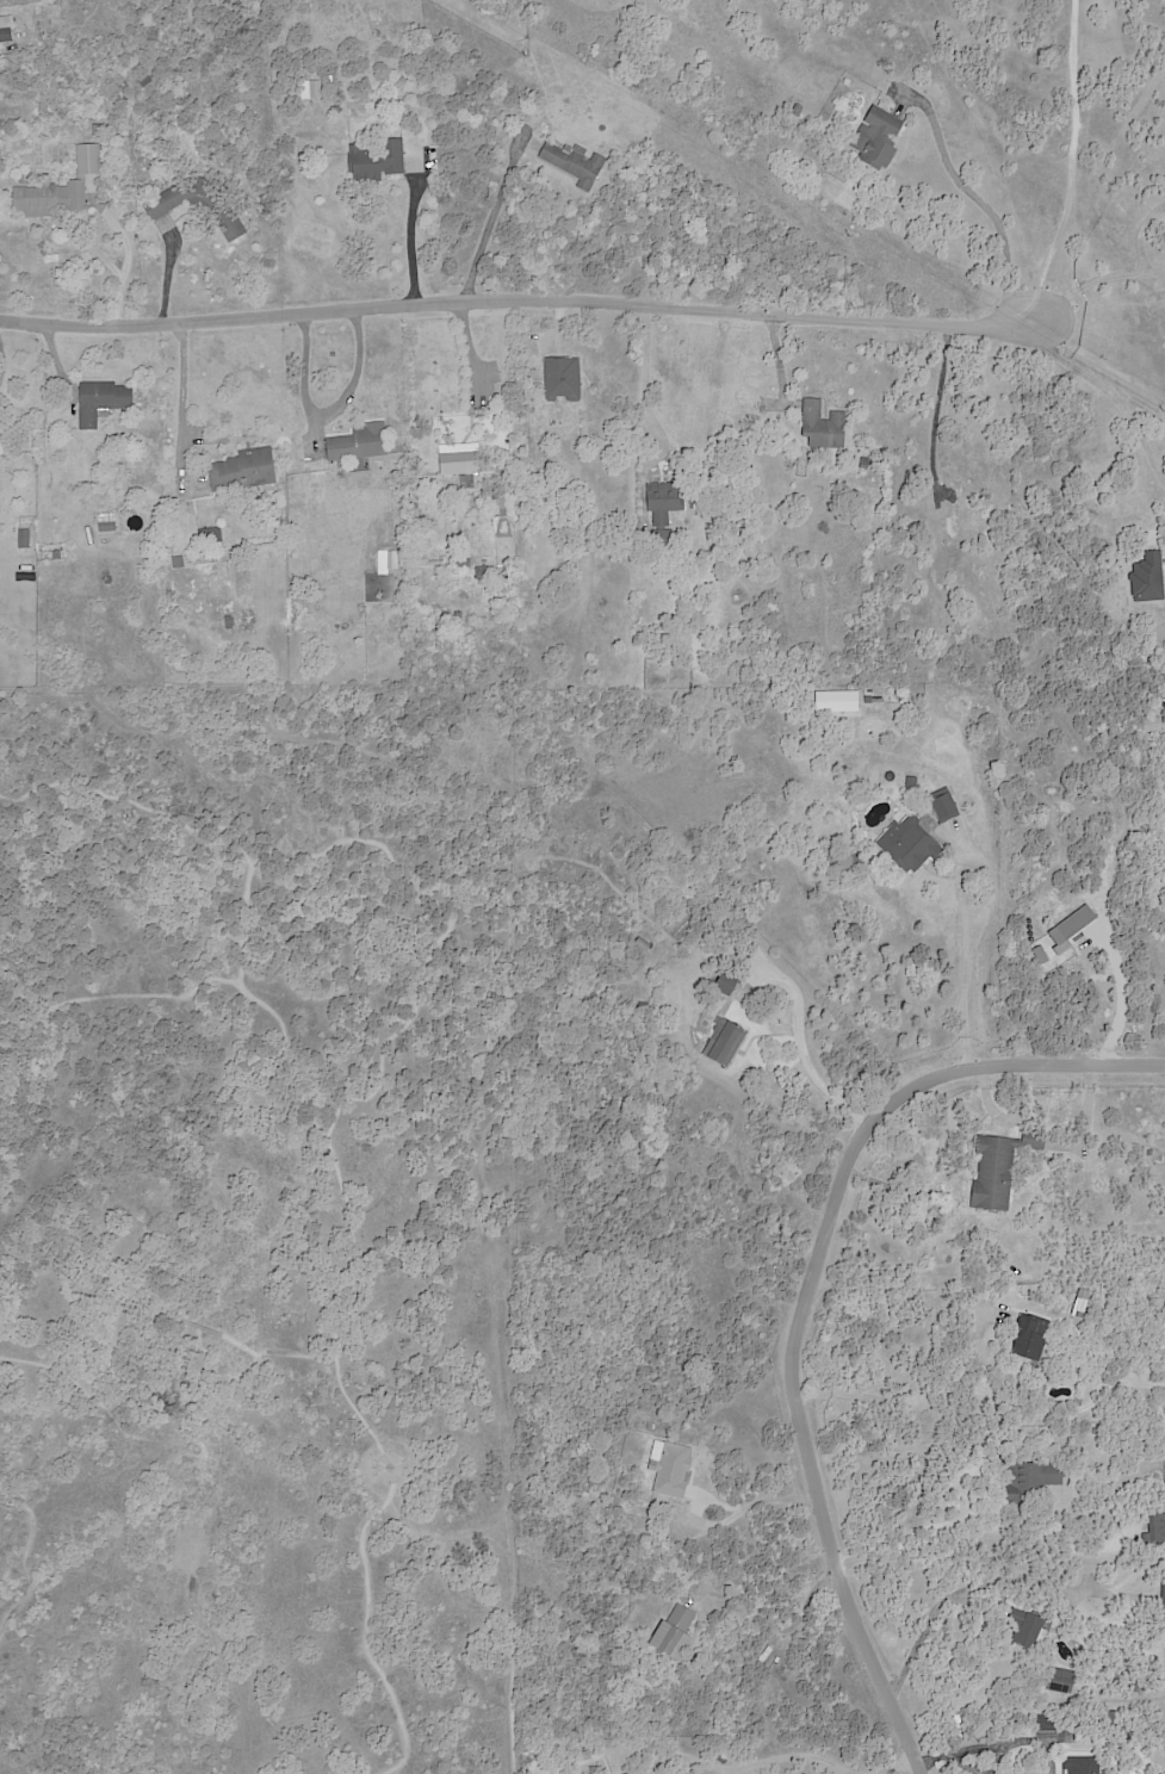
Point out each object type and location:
building: (6, 35)
power tower: (523, 56)
building: (147, 80)
building: (411, 85)
building: (316, 89)
building: (797, 110)
building: (336, 111)
building: (99, 129)
building: (879, 138)
building: (379, 160)
building: (576, 161)
road: (1074, 162)
building: (62, 188)
road: (991, 203)
building: (161, 210)
road: (1141, 231)
power tower: (848, 235)
road: (417, 248)
road: (1153, 268)
road: (169, 272)
road: (1085, 284)
road: (470, 302)
road: (990, 321)
building: (564, 377)
road: (651, 377)
road: (1109, 391)
building: (104, 402)
road: (179, 403)
road: (940, 403)
power tower: (1160, 410)
road: (333, 413)
building: (825, 426)
building: (360, 442)
building: (463, 460)
building: (865, 463)
building: (244, 470)
building: (503, 502)
building: (663, 508)
building: (107, 522)
building: (965, 522)
building: (212, 534)
building: (27, 538)
building: (58, 556)
building: (394, 558)
building: (179, 560)
building: (461, 560)
building: (485, 571)
building: (1147, 578)
building: (460, 614)
building: (231, 621)
building: (854, 701)
building: (1160, 702)
building: (1154, 725)
road: (229, 779)
building: (913, 783)
building: (944, 806)
road: (186, 829)
building: (916, 845)
road: (453, 910)
building: (644, 944)
road: (967, 957)
building: (727, 984)
building: (589, 993)
road: (506, 1013)
building: (725, 1041)
road: (290, 1043)
road: (804, 1049)
building: (1000, 1166)
park: (265, 1232)
road: (806, 1296)
road: (165, 1315)
building: (1079, 1319)
building: (1033, 1335)
road: (874, 1395)
road: (1055, 1409)
road: (360, 1416)
building: (1097, 1431)
building: (674, 1469)
building: (1031, 1480)
road: (764, 1497)
road: (980, 1516)
building: (1157, 1527)
road: (19, 1555)
road: (1003, 1580)
building: (1163, 1586)
road: (362, 1624)
road: (779, 1627)
building: (1028, 1630)
building: (673, 1635)
building: (1058, 1680)
building: (1138, 1686)
road: (956, 1702)
building: (1111, 1713)
building: (1052, 1724)
road: (979, 1744)
road: (789, 1755)
building: (583, 1757)
road: (893, 1764)
building: (1083, 1764)
building: (626, 1772)
building: (631, 1773)

